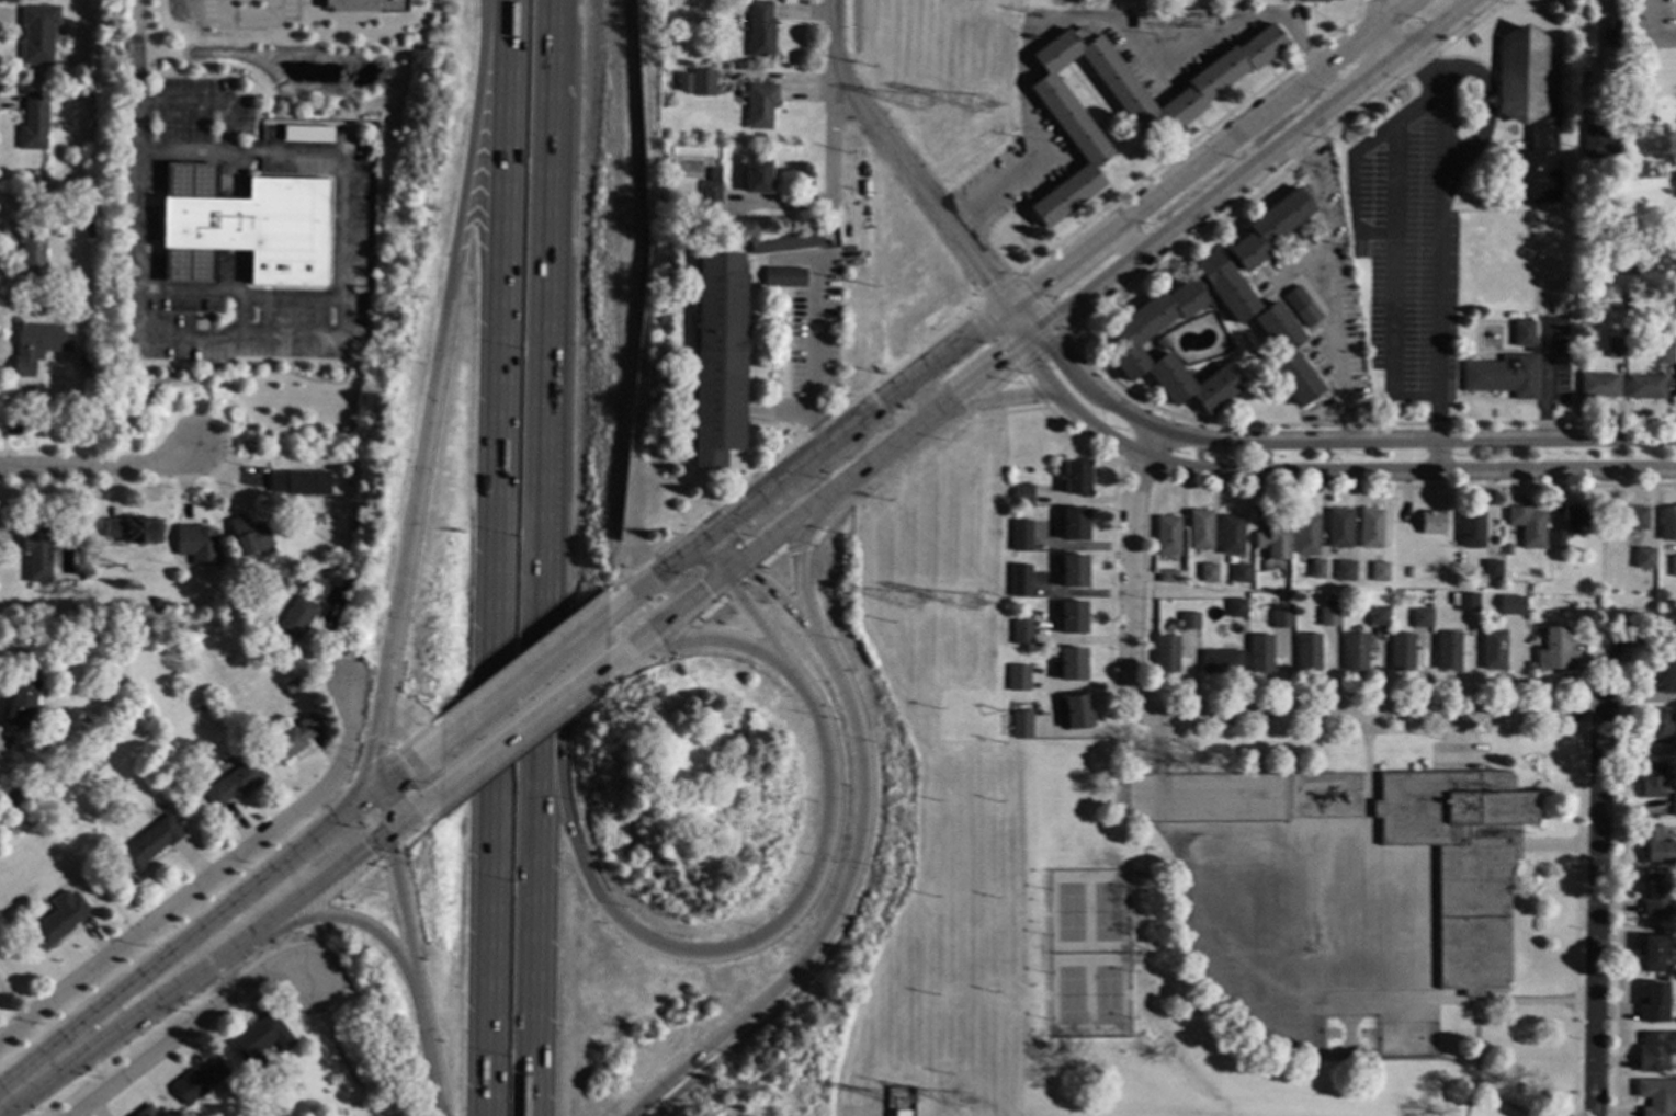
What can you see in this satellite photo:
building: (1287, 0)
building: (1311, 1)
building: (365, 5)
road: (1392, 13)
building: (1174, 20)
road: (1092, 23)
road: (248, 24)
building: (760, 30)
road: (1377, 31)
road: (1652, 31)
building: (38, 34)
building: (1611, 39)
road: (834, 42)
road: (135, 73)
building: (701, 83)
building: (682, 84)
power tower: (920, 102)
power tower: (984, 102)
building: (1124, 103)
building: (760, 106)
building: (1528, 116)
building: (34, 123)
building: (306, 134)
building: (1603, 144)
road: (834, 149)
road: (1258, 168)
building: (757, 176)
road: (922, 194)
building: (712, 197)
building: (244, 216)
building: (1269, 229)
building: (89, 234)
building: (785, 241)
building: (32, 246)
road: (1125, 246)
road: (548, 254)
road: (1436, 255)
road: (1391, 257)
building: (190, 269)
building: (784, 277)
traffic signals: (990, 283)
building: (1225, 287)
road: (1330, 287)
traffic signals: (1034, 288)
building: (1295, 299)
building: (1307, 316)
road: (989, 320)
road: (1028, 322)
road: (339, 329)
building: (1277, 329)
building: (1524, 334)
building: (1159, 344)
building: (34, 346)
road: (1051, 346)
road: (1034, 348)
building: (1131, 348)
building: (1616, 349)
traffic signals: (1055, 352)
road: (1022, 354)
building: (1663, 355)
road: (813, 358)
building: (718, 360)
building: (82, 363)
traffic signals: (1011, 367)
building: (1503, 376)
building: (1296, 380)
road: (1541, 382)
road: (983, 386)
building: (1598, 386)
building: (1675, 386)
building: (1646, 387)
road: (437, 396)
road: (929, 397)
road: (996, 398)
road: (777, 411)
road: (1351, 440)
road: (890, 456)
road: (94, 465)
road: (1352, 471)
building: (1077, 479)
building: (299, 483)
building: (1022, 496)
building: (1630, 519)
building: (1576, 520)
building: (1432, 523)
building: (1074, 525)
building: (1667, 525)
building: (354, 526)
building: (1527, 526)
building: (1370, 528)
building: (1200, 529)
building: (1339, 529)
building: (1472, 529)
building: (134, 532)
road: (791, 532)
building: (1021, 535)
building: (1231, 535)
building: (249, 536)
building: (1167, 536)
building: (1306, 536)
building: (1556, 539)
traffic signals: (705, 543)
building: (1273, 543)
building: (196, 544)
road: (799, 544)
building: (1507, 549)
building: (36, 554)
road: (770, 556)
road: (800, 556)
road: (497, 558)
building: (1644, 559)
road: (717, 560)
building: (1672, 566)
traffic signals: (746, 567)
building: (1317, 569)
road: (1134, 570)
building: (1345, 570)
building: (1492, 570)
building: (1409, 571)
road: (738, 572)
building: (1074, 572)
building: (1379, 572)
building: (349, 573)
building: (1208, 573)
building: (1241, 573)
building: (1167, 577)
traffic signals: (731, 579)
road: (761, 579)
building: (1019, 580)
road: (740, 582)
building: (318, 590)
building: (994, 593)
building: (1513, 599)
power tower: (977, 600)
power tower: (909, 602)
building: (1465, 602)
building: (156, 603)
building: (1236, 608)
building: (73, 610)
road: (707, 611)
building: (1328, 617)
building: (1377, 617)
building: (1073, 618)
building: (1420, 618)
building: (297, 619)
building: (1281, 619)
building: (1189, 622)
road: (761, 623)
road: (668, 625)
building: (1021, 633)
road: (1652, 634)
road: (720, 639)
road: (673, 641)
building: (1554, 650)
building: (1447, 651)
building: (1493, 651)
building: (1307, 652)
building: (1355, 653)
building: (1403, 653)
building: (1166, 654)
building: (1260, 654)
building: (1221, 662)
building: (1071, 664)
building: (1529, 667)
road: (634, 668)
building: (1665, 674)
road: (521, 676)
building: (1018, 679)
building: (292, 684)
building: (21, 702)
road: (1583, 711)
building: (1077, 713)
road: (1371, 716)
building: (1021, 725)
building: (1658, 727)
road: (521, 734)
building: (294, 739)
road: (530, 744)
building: (238, 753)
road: (830, 759)
building: (173, 779)
building: (1652, 779)
building: (234, 784)
traffic signals: (377, 790)
building: (13, 795)
parking lot: (1207, 797)
building: (1674, 806)
road: (539, 812)
road: (382, 815)
road: (411, 819)
road: (422, 828)
traffic signals: (386, 839)
building: (149, 844)
building: (1656, 847)
road: (576, 850)
road: (390, 853)
traffic signals: (825, 858)
building: (1462, 861)
road: (1616, 864)
road: (1599, 873)
road: (211, 874)
road: (356, 882)
road: (313, 890)
park: (1241, 891)
building: (1657, 896)
road: (845, 909)
park: (1106, 911)
park: (1069, 912)
road: (338, 915)
road: (215, 916)
road: (317, 919)
building: (59, 920)
road: (1575, 924)
road: (294, 952)
building: (1652, 954)
road: (414, 977)
park: (1069, 994)
park: (1107, 994)
building: (1654, 1003)
road: (121, 1025)
road: (186, 1028)
park: (1348, 1035)
park: (1406, 1039)
building: (260, 1041)
building: (1655, 1052)
road: (1475, 1062)
building: (199, 1083)
road: (1484, 1087)
building: (1657, 1096)
power tower: (966, 1104)
power tower: (907, 1108)
building: (146, 1112)
road: (860, 1112)

